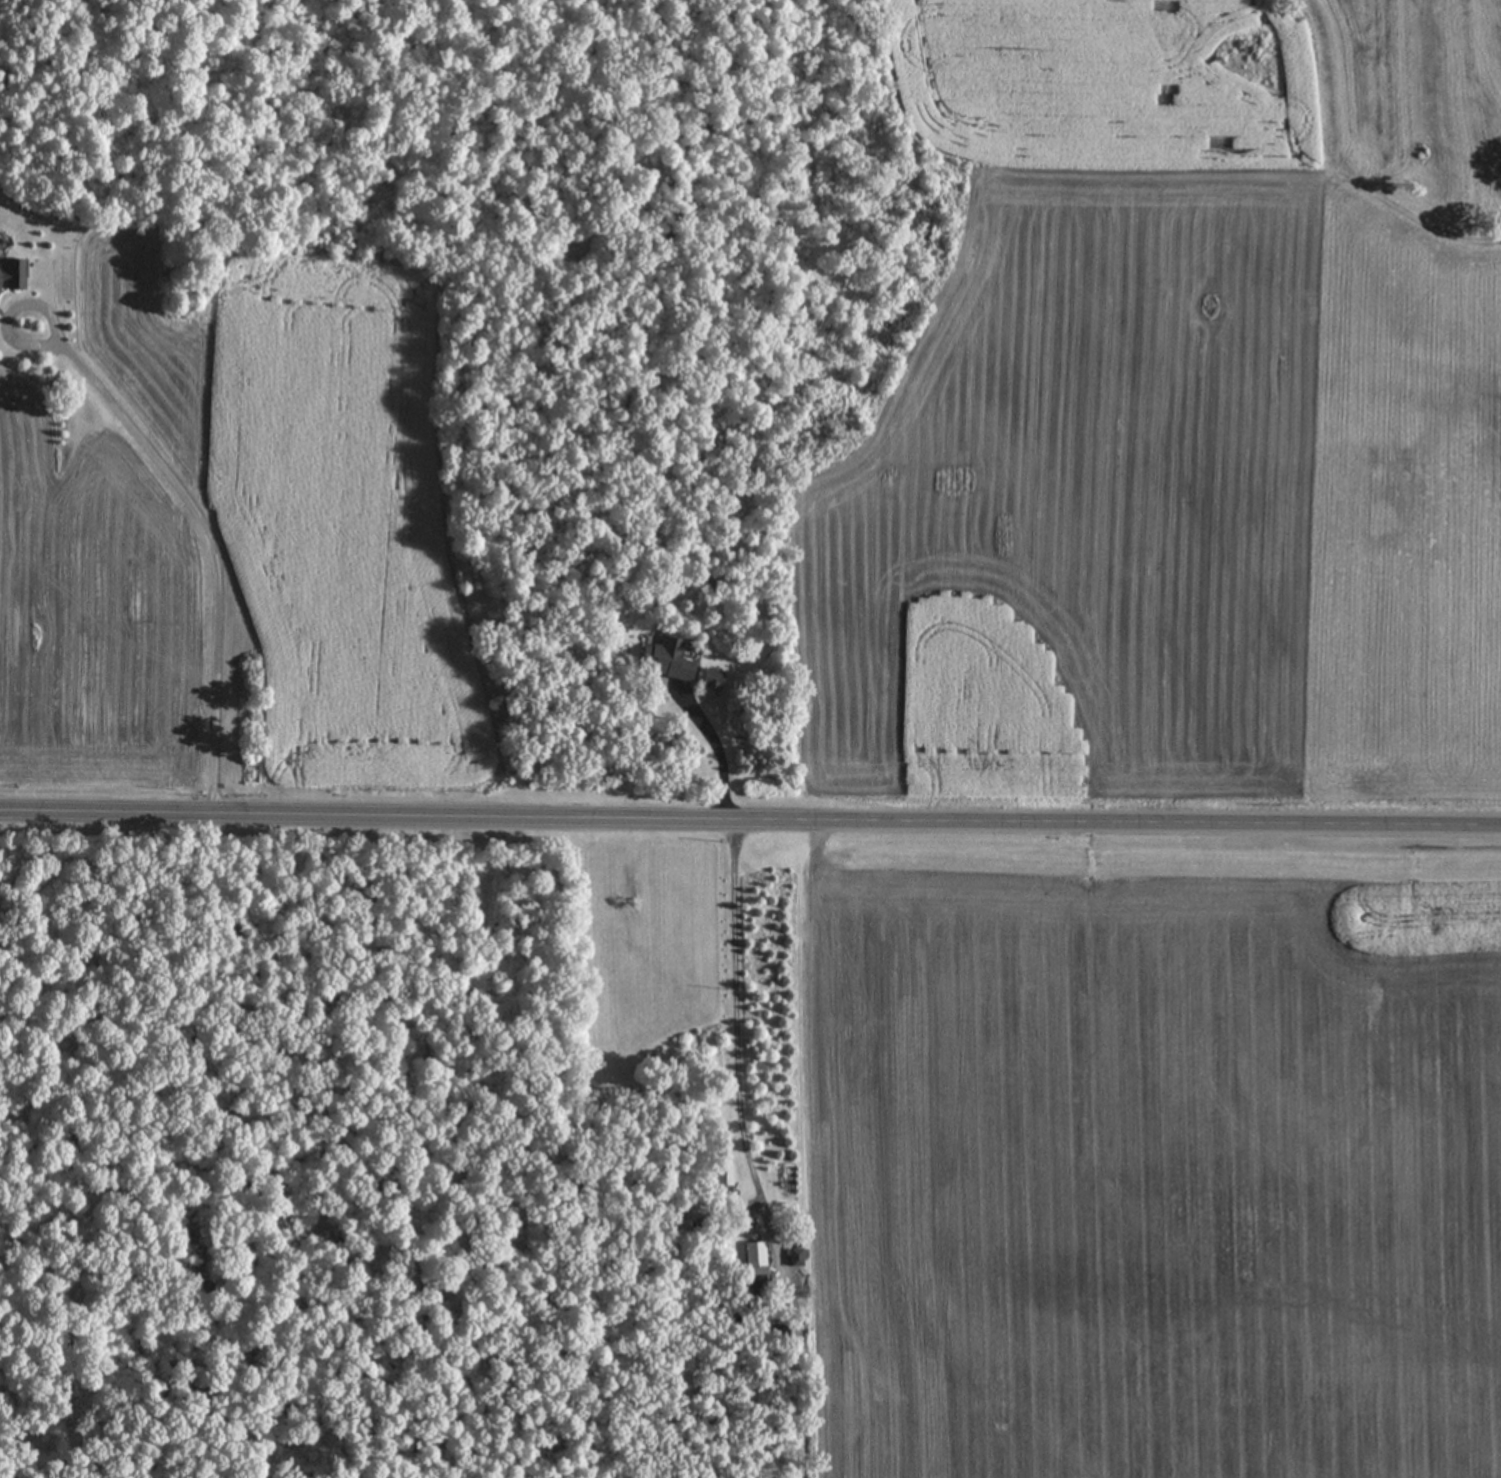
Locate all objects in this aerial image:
building: (570, 255)
building: (12, 276)
road: (209, 531)
building: (663, 661)
building: (710, 680)
road: (719, 751)
road: (750, 817)
road: (737, 1040)
building: (755, 1255)

